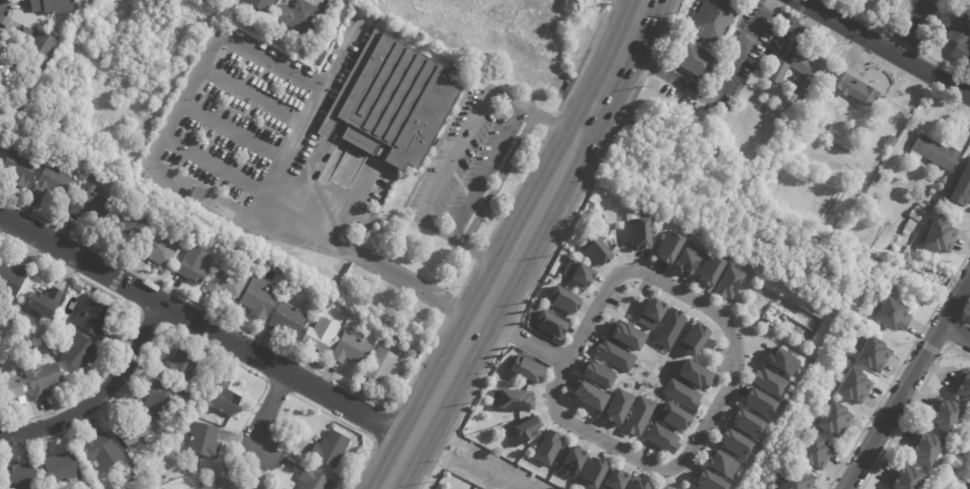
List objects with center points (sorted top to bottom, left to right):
road: (808, 3)
building: (966, 3)
building: (262, 5)
building: (52, 6)
road: (10, 11)
building: (301, 17)
building: (715, 19)
building: (325, 22)
road: (664, 27)
road: (873, 28)
road: (913, 28)
building: (317, 37)
road: (625, 40)
building: (960, 41)
road: (904, 43)
building: (39, 44)
road: (882, 49)
road: (923, 50)
road: (586, 58)
building: (697, 60)
road: (650, 65)
building: (778, 72)
building: (809, 73)
building: (7, 76)
building: (854, 85)
road: (716, 91)
road: (255, 92)
building: (0, 96)
building: (395, 103)
building: (794, 108)
road: (552, 122)
road: (235, 130)
building: (892, 140)
road: (439, 142)
building: (1, 143)
road: (164, 149)
building: (936, 152)
road: (455, 155)
road: (219, 160)
road: (442, 163)
building: (18, 167)
road: (486, 172)
building: (137, 175)
building: (94, 178)
road: (497, 178)
building: (53, 183)
road: (459, 183)
building: (962, 187)
road: (516, 188)
road: (583, 194)
building: (199, 196)
road: (471, 200)
building: (90, 204)
road: (482, 209)
road: (494, 215)
building: (917, 216)
building: (131, 217)
building: (910, 226)
building: (202, 233)
building: (641, 233)
building: (941, 236)
building: (666, 247)
building: (591, 249)
building: (159, 250)
road: (479, 255)
building: (684, 259)
building: (193, 266)
building: (710, 268)
building: (575, 272)
building: (12, 279)
road: (466, 279)
building: (227, 282)
building: (726, 284)
building: (79, 285)
road: (495, 285)
building: (560, 298)
building: (260, 299)
building: (45, 303)
road: (451, 306)
building: (645, 312)
building: (893, 314)
road: (966, 315)
building: (347, 316)
building: (12, 318)
building: (95, 318)
road: (151, 318)
building: (288, 320)
building: (546, 324)
road: (133, 326)
road: (204, 328)
road: (159, 329)
road: (242, 329)
building: (670, 329)
building: (43, 330)
road: (509, 330)
road: (956, 333)
building: (620, 334)
road: (958, 334)
building: (321, 336)
building: (695, 337)
building: (352, 349)
building: (78, 351)
building: (874, 355)
building: (611, 356)
building: (216, 358)
building: (784, 362)
building: (181, 367)
building: (381, 368)
road: (898, 368)
building: (524, 369)
building: (594, 374)
building: (691, 374)
building: (42, 378)
building: (765, 380)
road: (907, 383)
building: (646, 384)
building: (854, 387)
building: (963, 389)
building: (12, 391)
road: (290, 391)
building: (677, 392)
road: (99, 395)
building: (584, 395)
building: (223, 398)
building: (511, 398)
building: (161, 401)
building: (761, 403)
building: (612, 405)
road: (909, 406)
road: (266, 409)
building: (636, 414)
building: (944, 415)
road: (456, 416)
building: (675, 417)
building: (835, 419)
building: (749, 423)
road: (703, 425)
road: (383, 427)
road: (356, 429)
building: (133, 430)
building: (526, 432)
building: (205, 439)
building: (663, 439)
building: (737, 444)
building: (332, 448)
building: (549, 448)
building: (924, 449)
building: (103, 451)
building: (818, 453)
building: (574, 461)
building: (723, 464)
building: (63, 469)
building: (193, 469)
building: (596, 471)
building: (20, 476)
building: (135, 478)
building: (905, 479)
building: (313, 480)
building: (616, 480)
building: (796, 480)
building: (222, 481)
building: (711, 481)
building: (640, 483)
building: (968, 485)
building: (661, 488)

